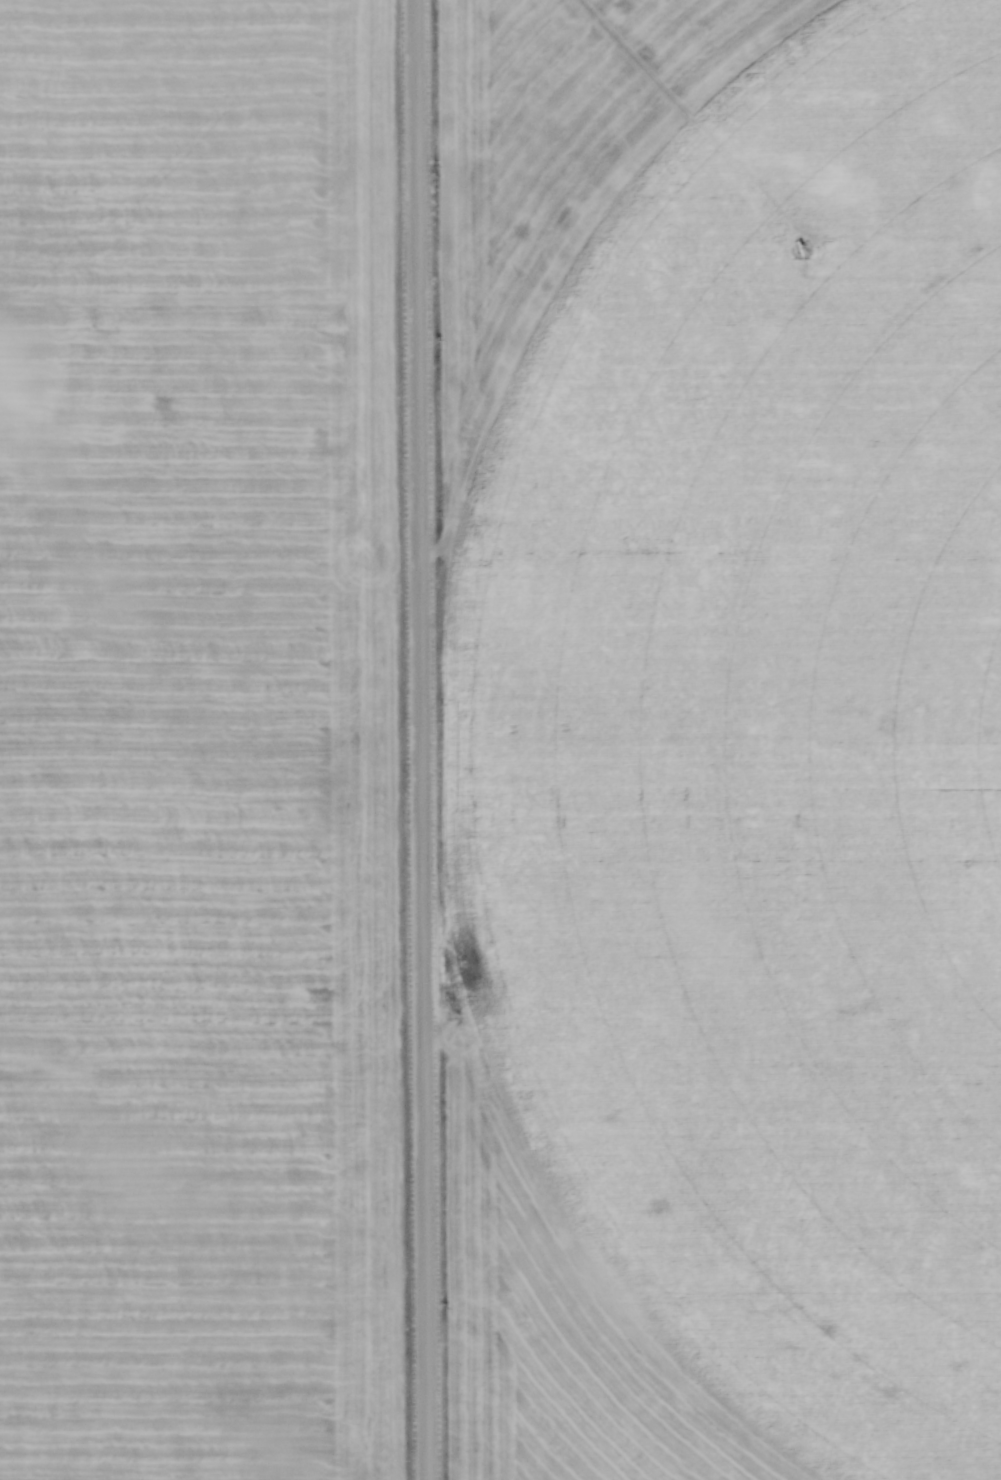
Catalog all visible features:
crop: (719, 737)
road: (416, 740)
crop: (199, 741)

